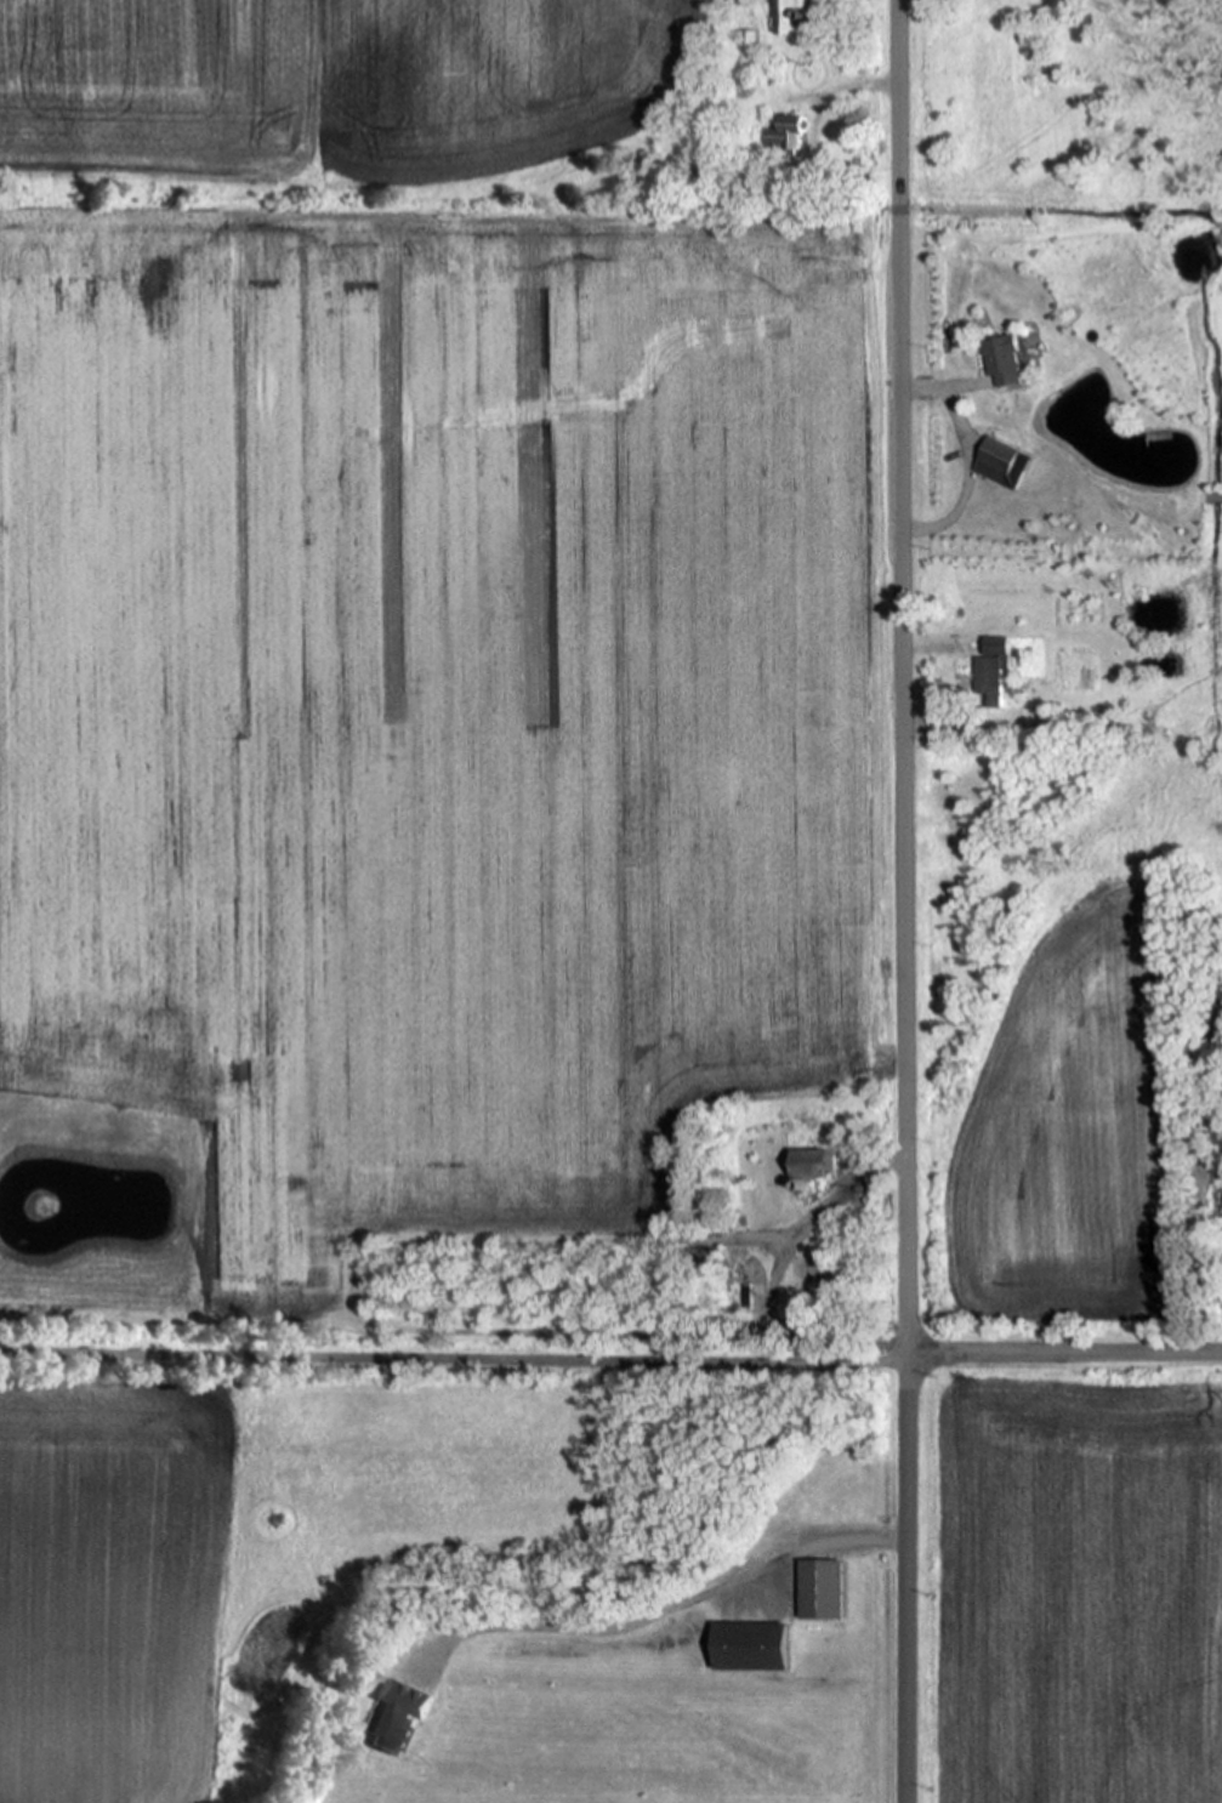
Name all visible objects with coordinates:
building: (796, 17)
building: (790, 136)
building: (961, 223)
building: (1018, 352)
building: (1000, 359)
road: (942, 388)
building: (1154, 436)
building: (998, 454)
building: (989, 471)
road: (966, 478)
building: (1211, 499)
building: (991, 670)
road: (904, 900)
building: (825, 1161)
building: (818, 1276)
road: (454, 1353)
road: (1064, 1356)
building: (825, 1592)
road: (664, 1609)
building: (756, 1649)
building: (402, 1719)

